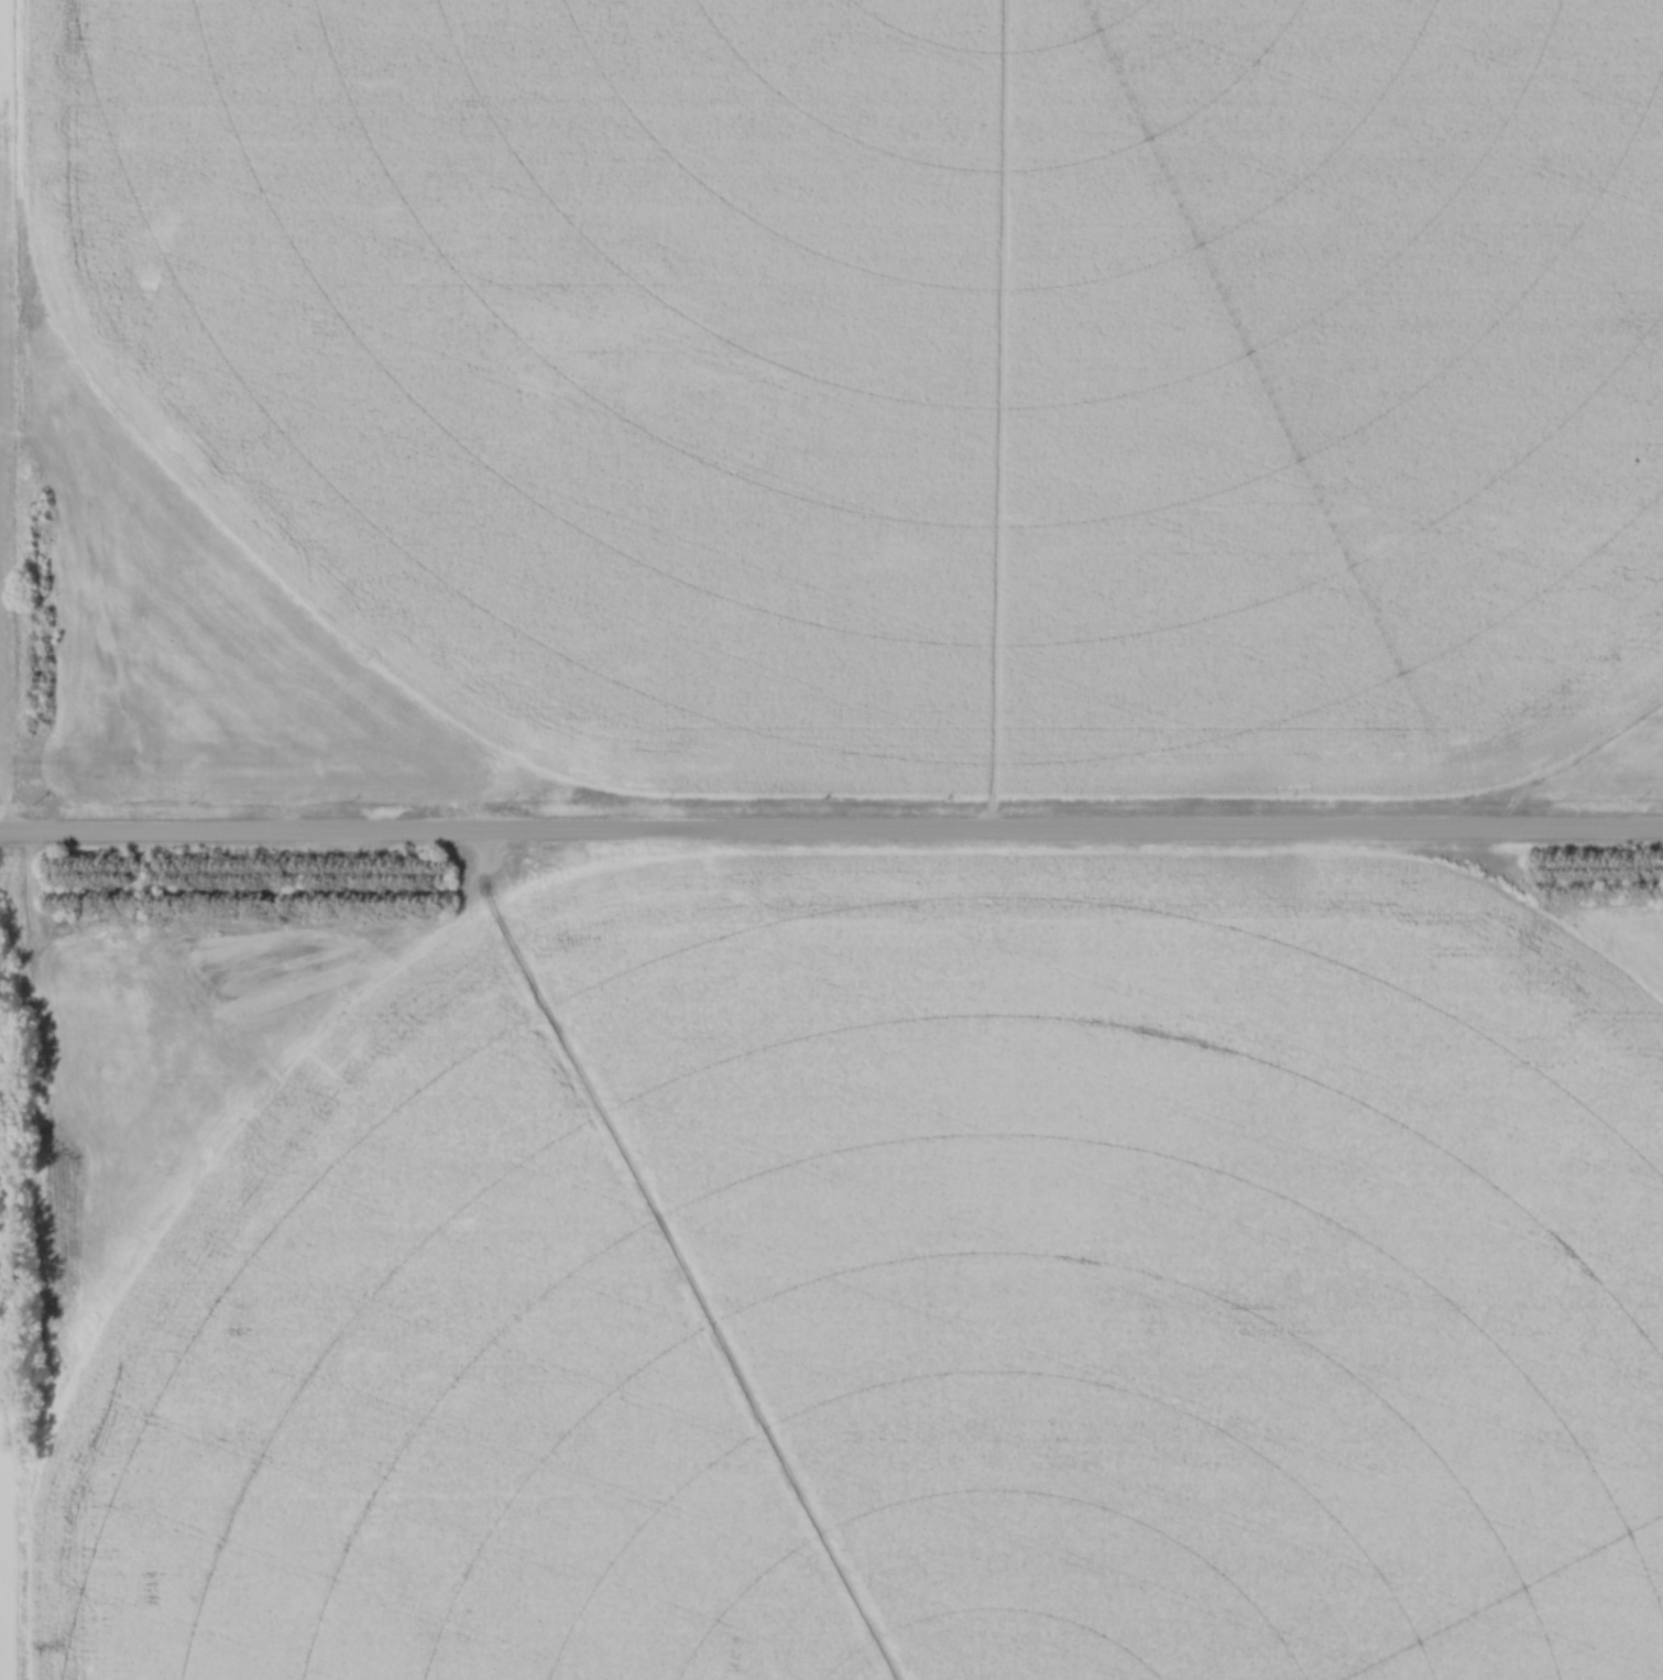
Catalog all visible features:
road: (831, 836)

